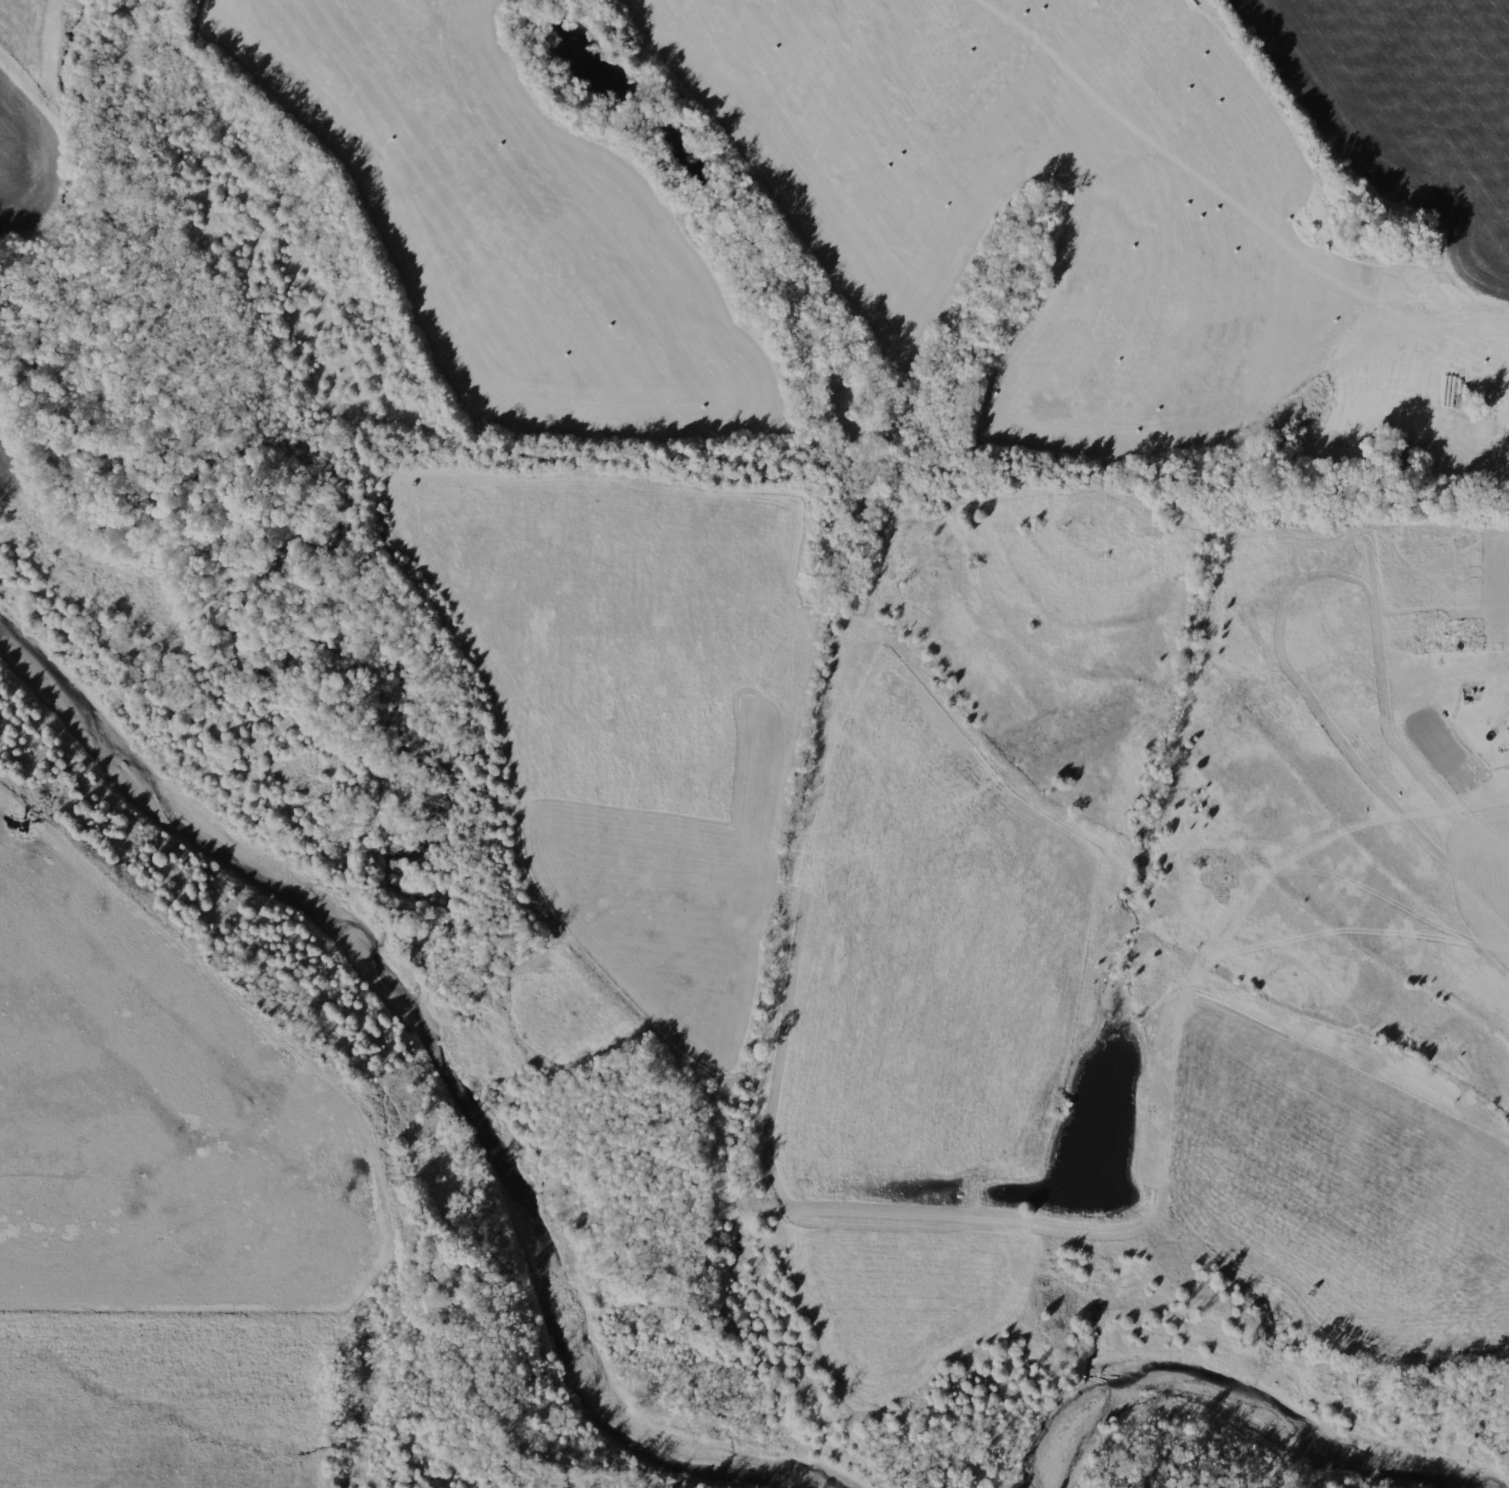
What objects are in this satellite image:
road: (1503, 716)

